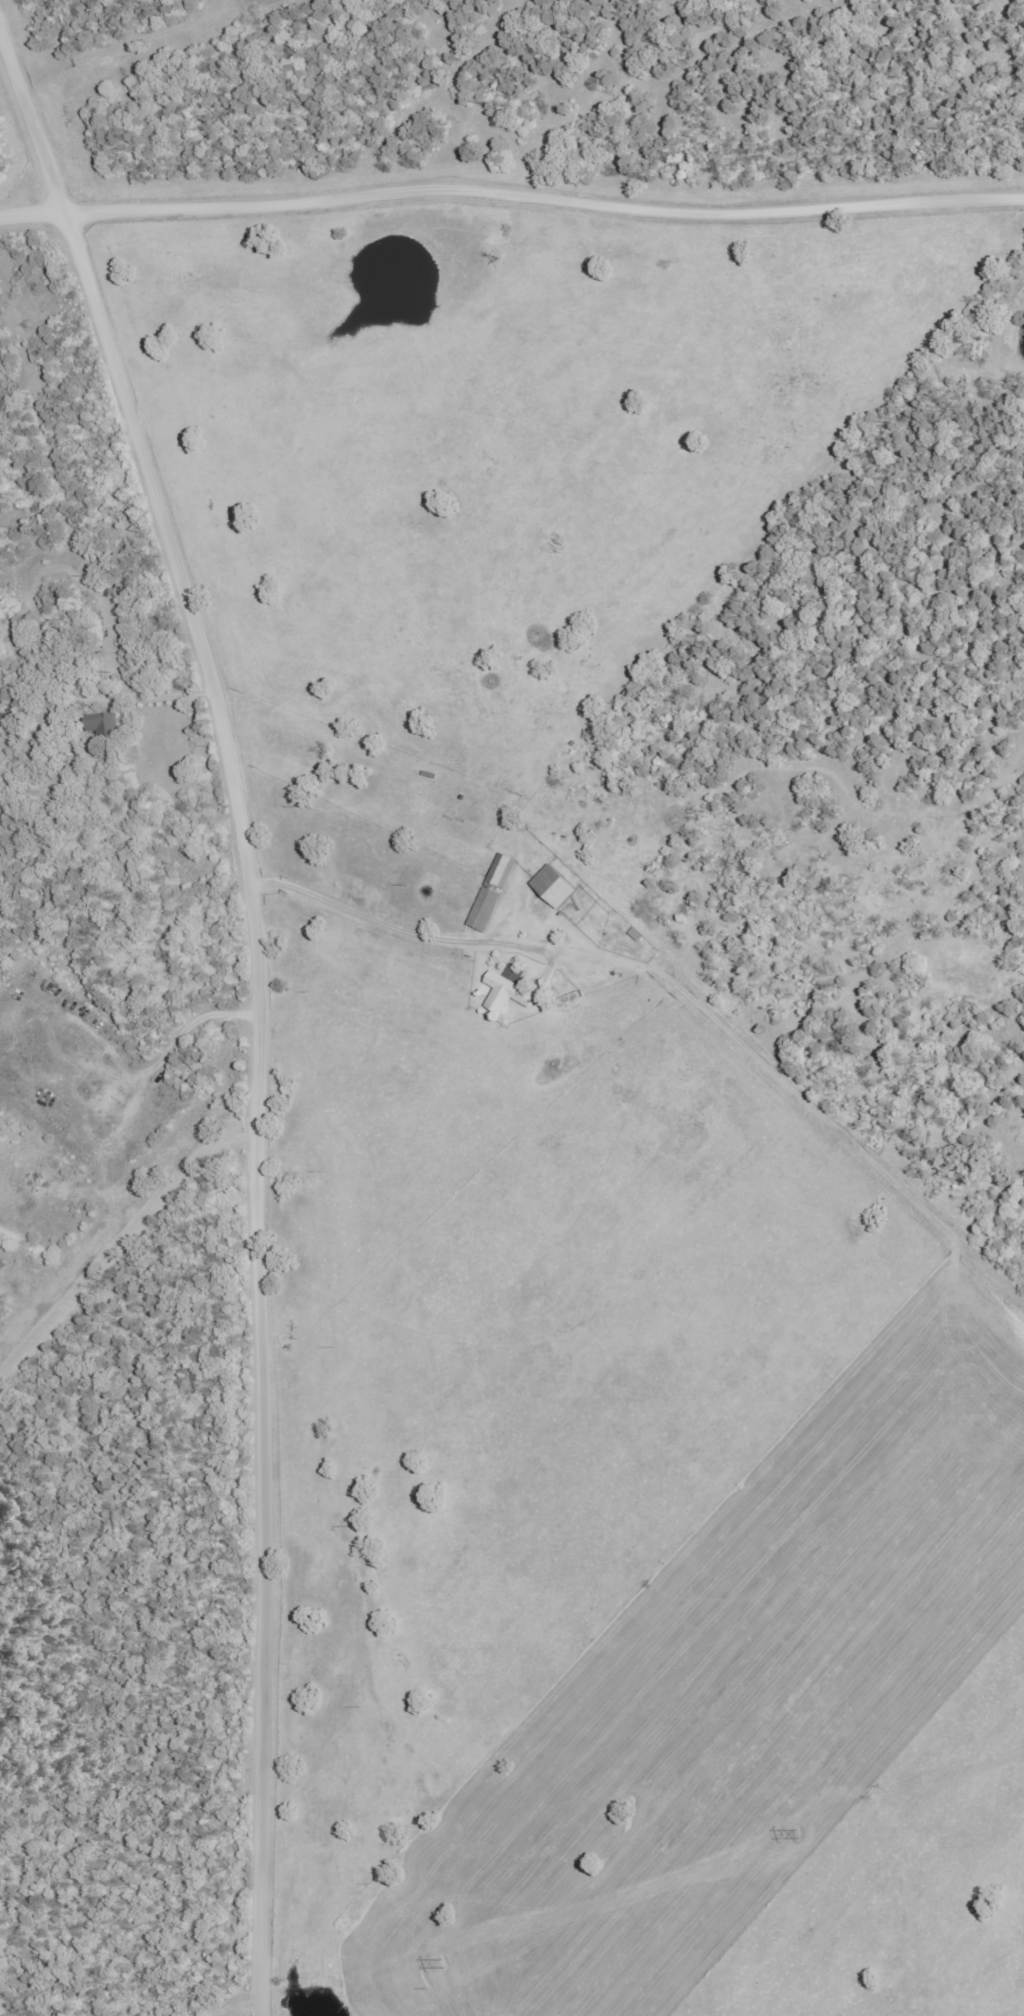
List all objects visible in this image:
road: (103, 106)
road: (511, 191)
building: (102, 726)
building: (554, 887)
building: (493, 891)
road: (686, 987)
building: (508, 990)
road: (260, 1004)
power tower: (785, 1835)
power tower: (425, 1966)

